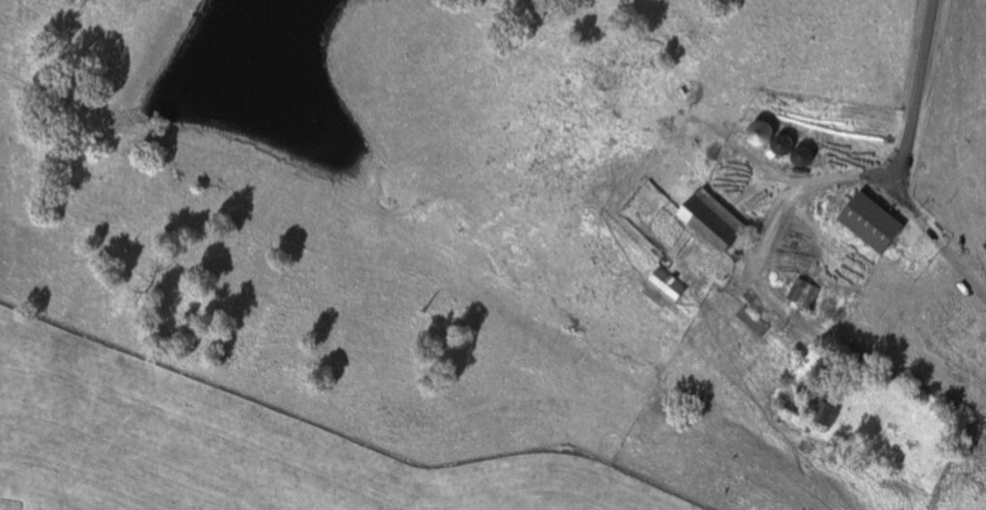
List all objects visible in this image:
road: (913, 94)
building: (714, 223)
building: (871, 224)
building: (667, 287)
building: (802, 295)
building: (751, 323)
building: (823, 410)

